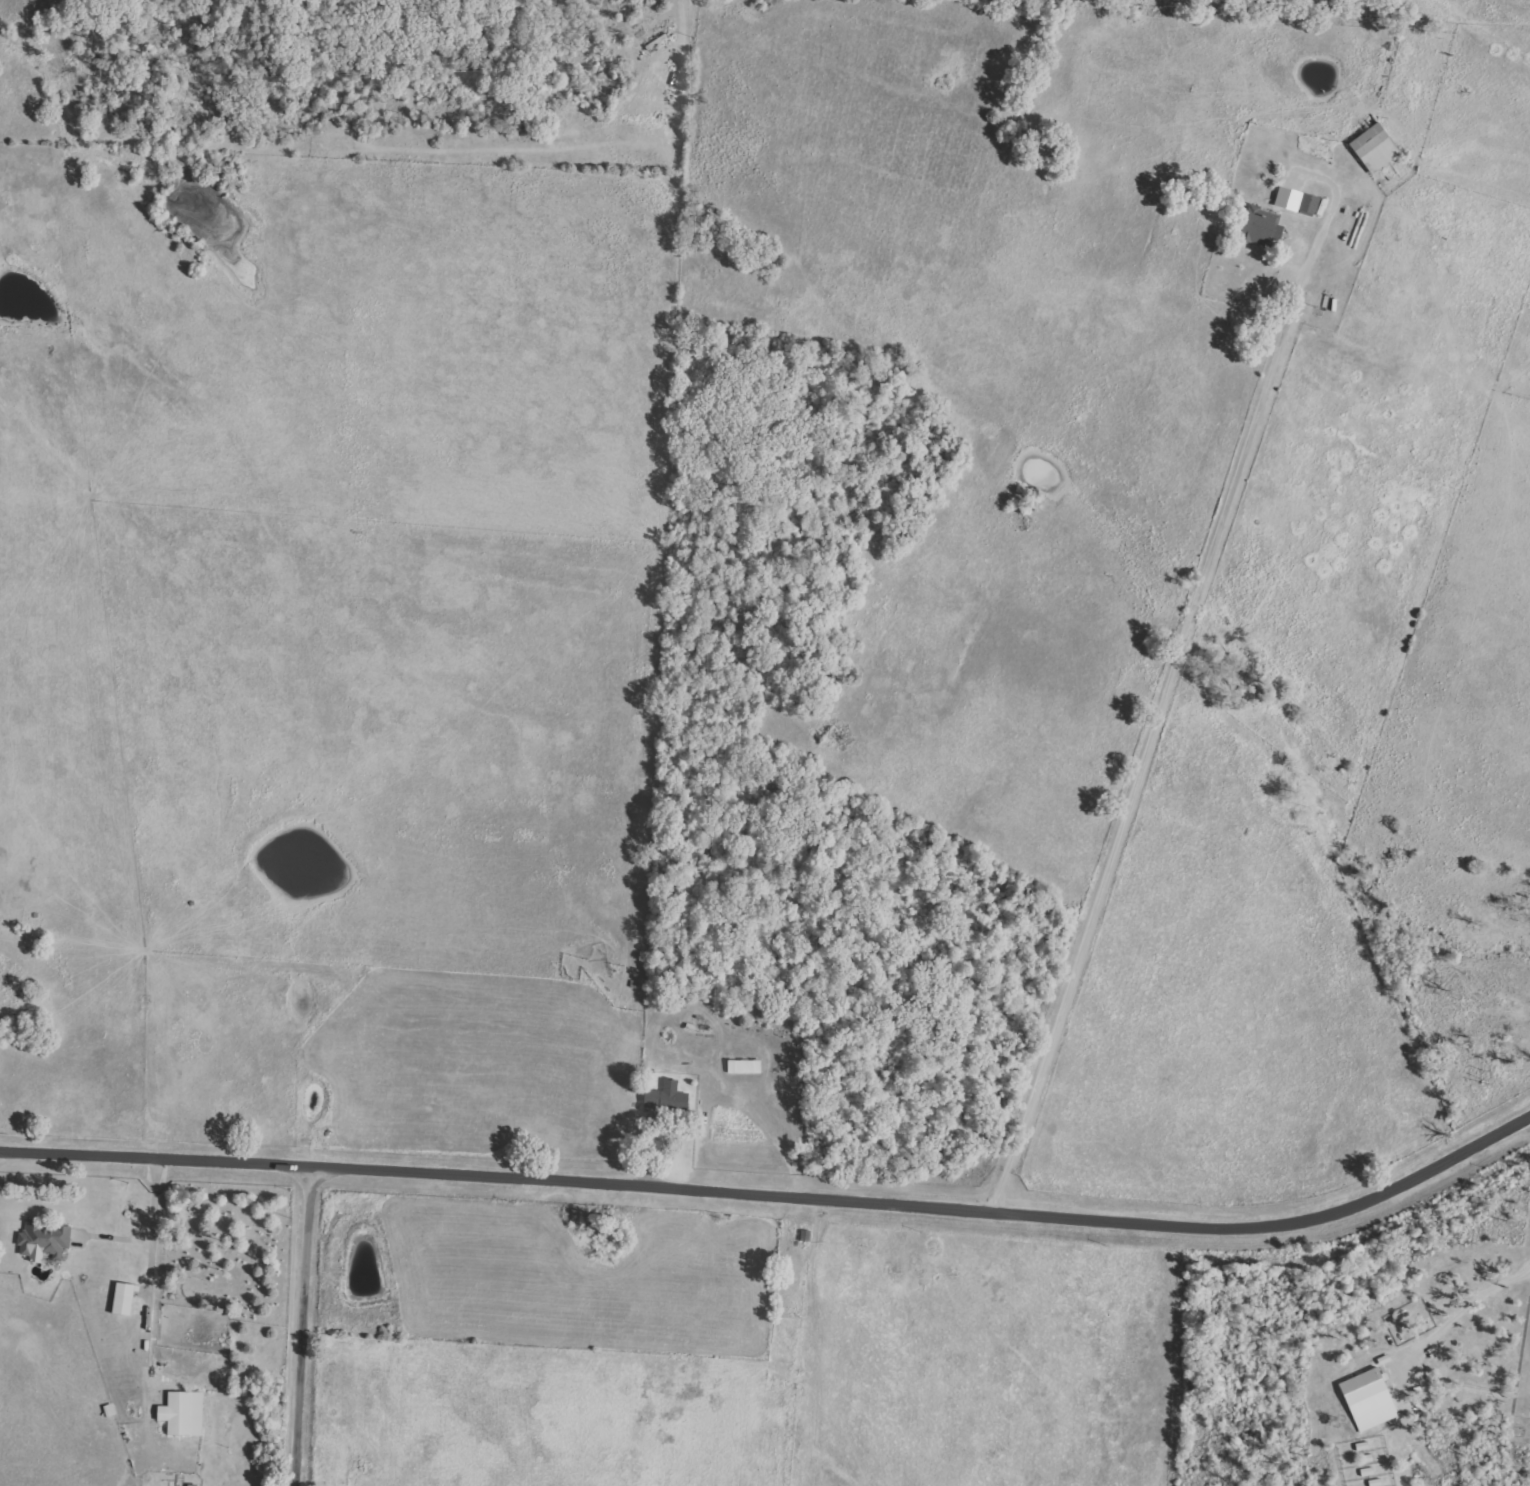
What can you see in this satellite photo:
building: (1375, 148)
building: (1308, 204)
building: (1258, 226)
road: (1150, 745)
road: (707, 1062)
building: (744, 1066)
building: (667, 1099)
road: (777, 1191)
building: (43, 1241)
road: (153, 1269)
building: (124, 1299)
road: (1462, 1318)
road: (306, 1323)
building: (1368, 1399)
building: (183, 1414)

